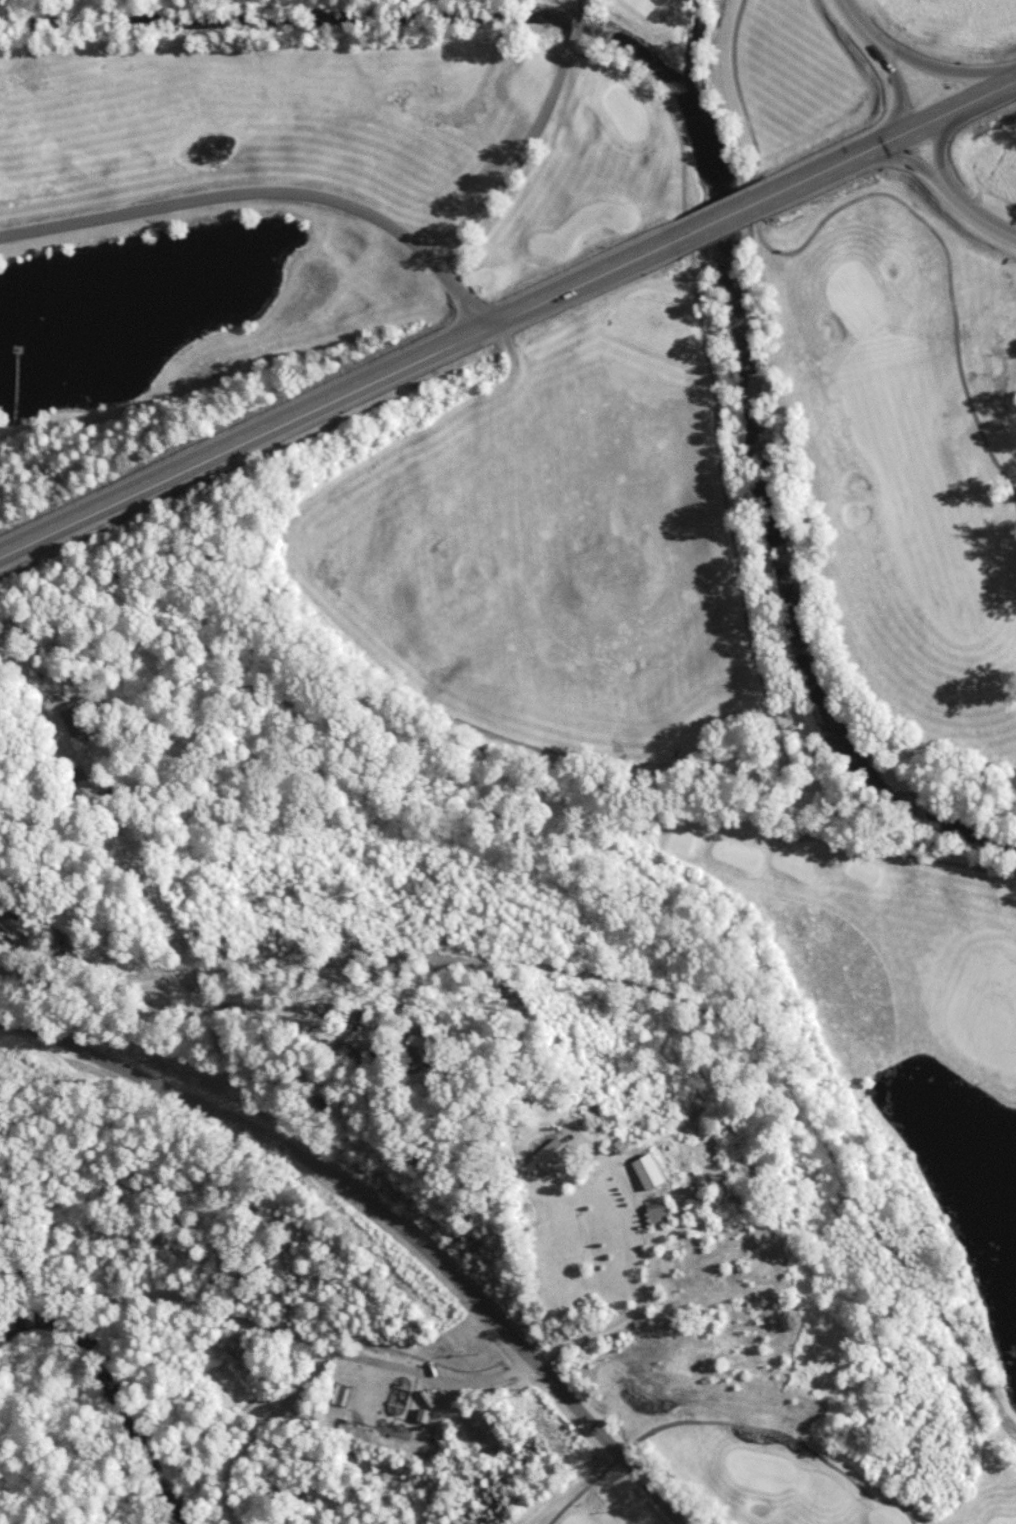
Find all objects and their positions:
road: (864, 26)
road: (945, 74)
road: (901, 95)
road: (661, 97)
road: (953, 110)
road: (951, 125)
road: (529, 139)
road: (921, 166)
park: (339, 167)
road: (266, 191)
road: (778, 192)
road: (870, 195)
road: (981, 217)
road: (332, 399)
road: (754, 660)
road: (28, 677)
park: (775, 696)
building: (73, 718)
building: (15, 923)
building: (68, 923)
road: (150, 987)
building: (357, 1019)
building: (351, 1051)
building: (419, 1052)
building: (369, 1056)
building: (553, 1148)
building: (636, 1176)
road: (350, 1182)
building: (661, 1213)
road: (648, 1289)
road: (490, 1380)
building: (423, 1413)
road: (729, 1422)
road: (656, 1490)
park: (584, 1501)

